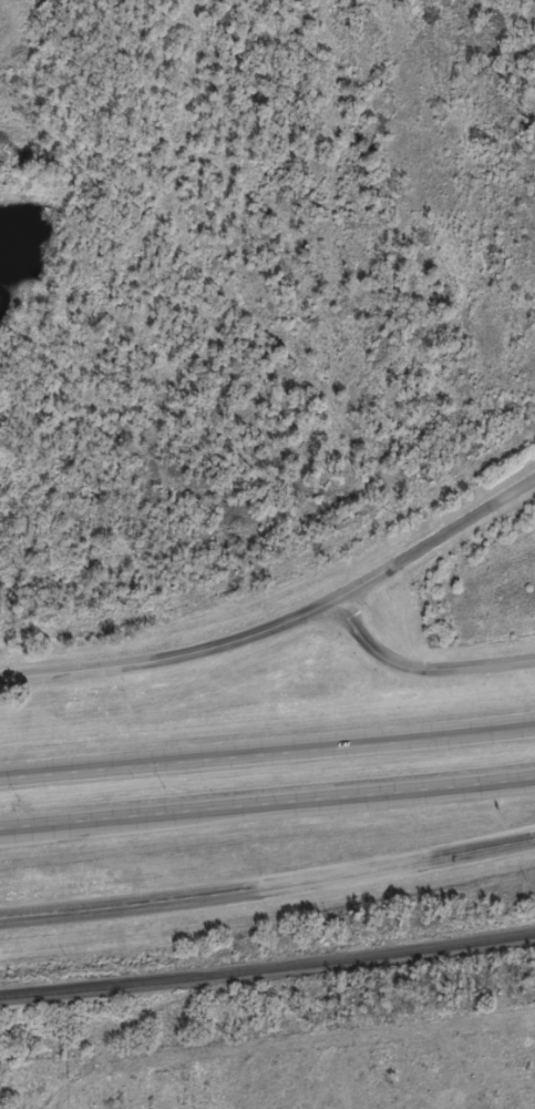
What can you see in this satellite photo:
road: (439, 541)
road: (176, 659)
road: (423, 670)
road: (267, 752)
road: (267, 801)
road: (137, 818)
road: (268, 888)
railway: (267, 967)

